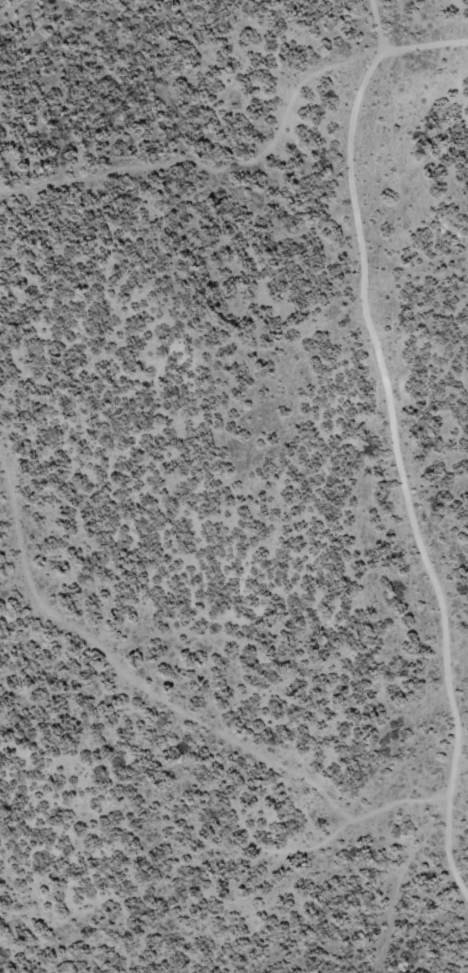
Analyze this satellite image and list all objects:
road: (387, 358)

